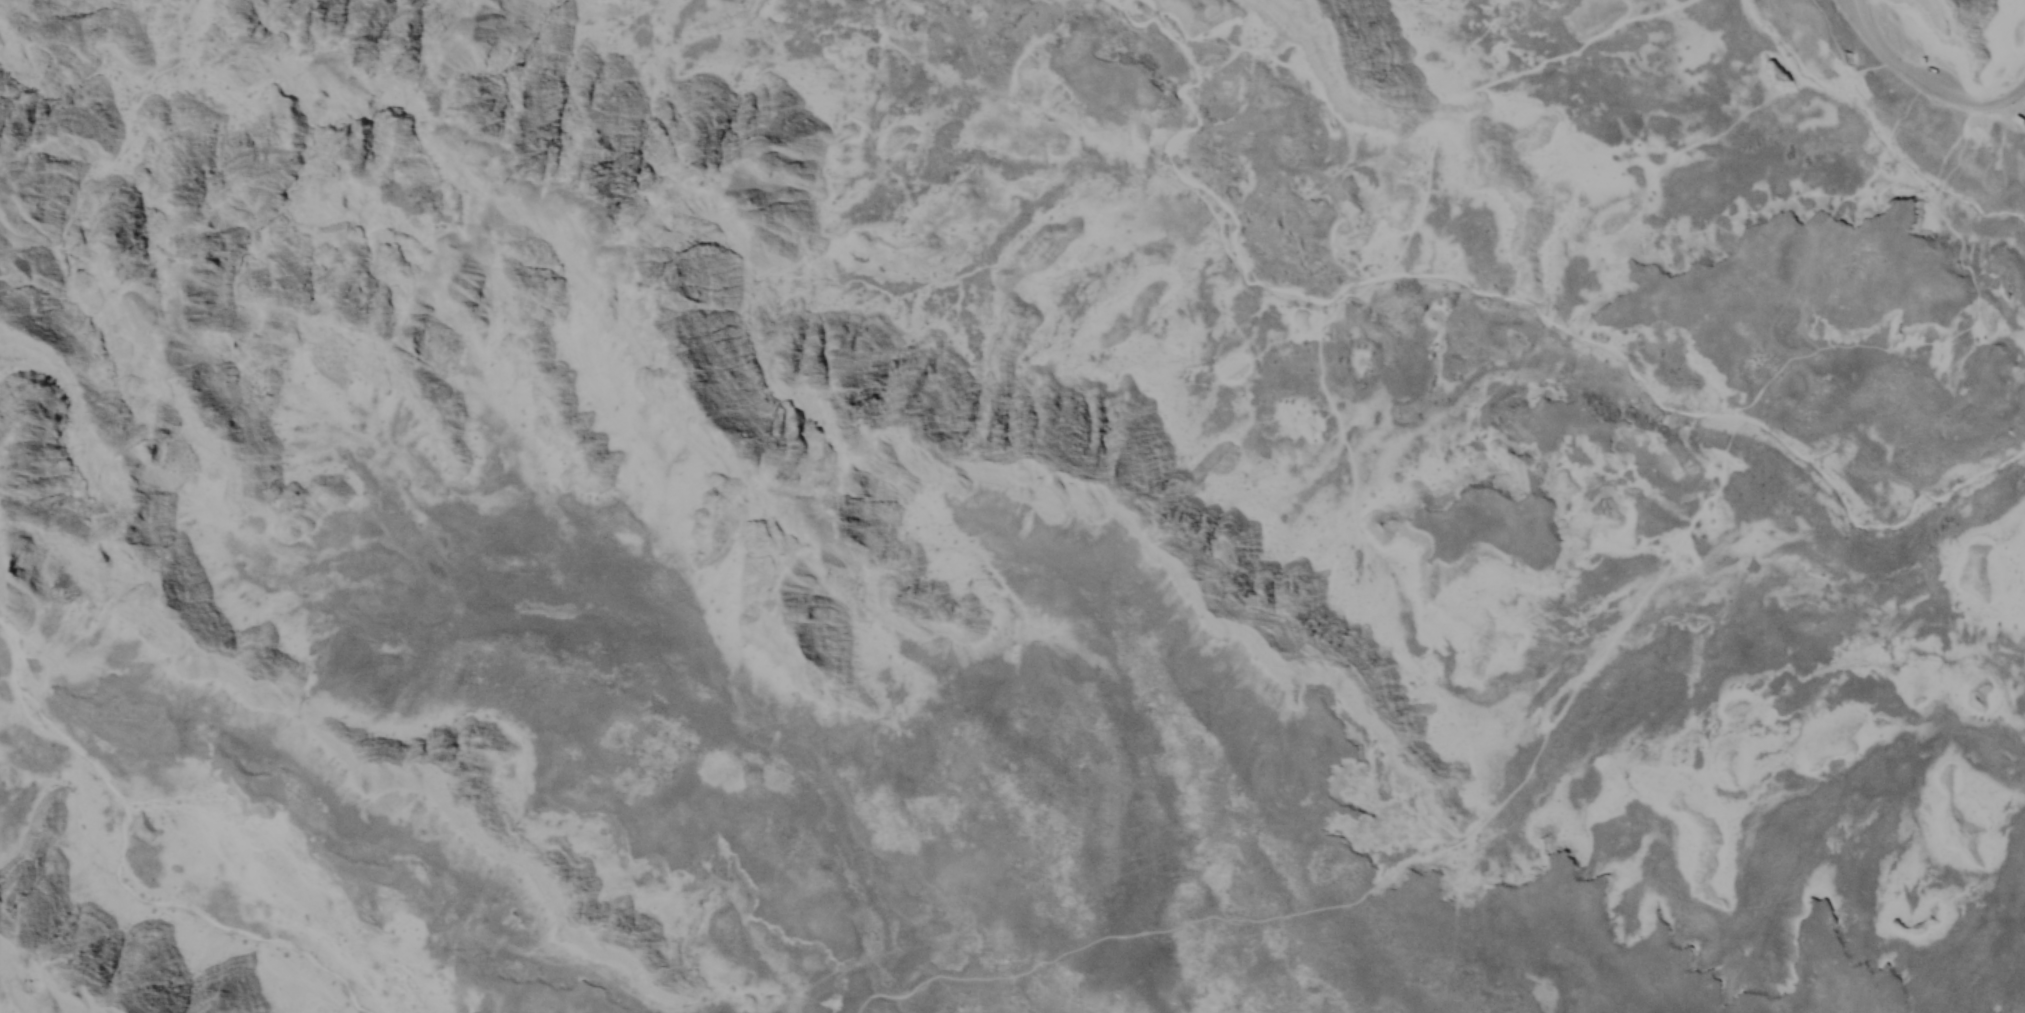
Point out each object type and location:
road: (1924, 84)

